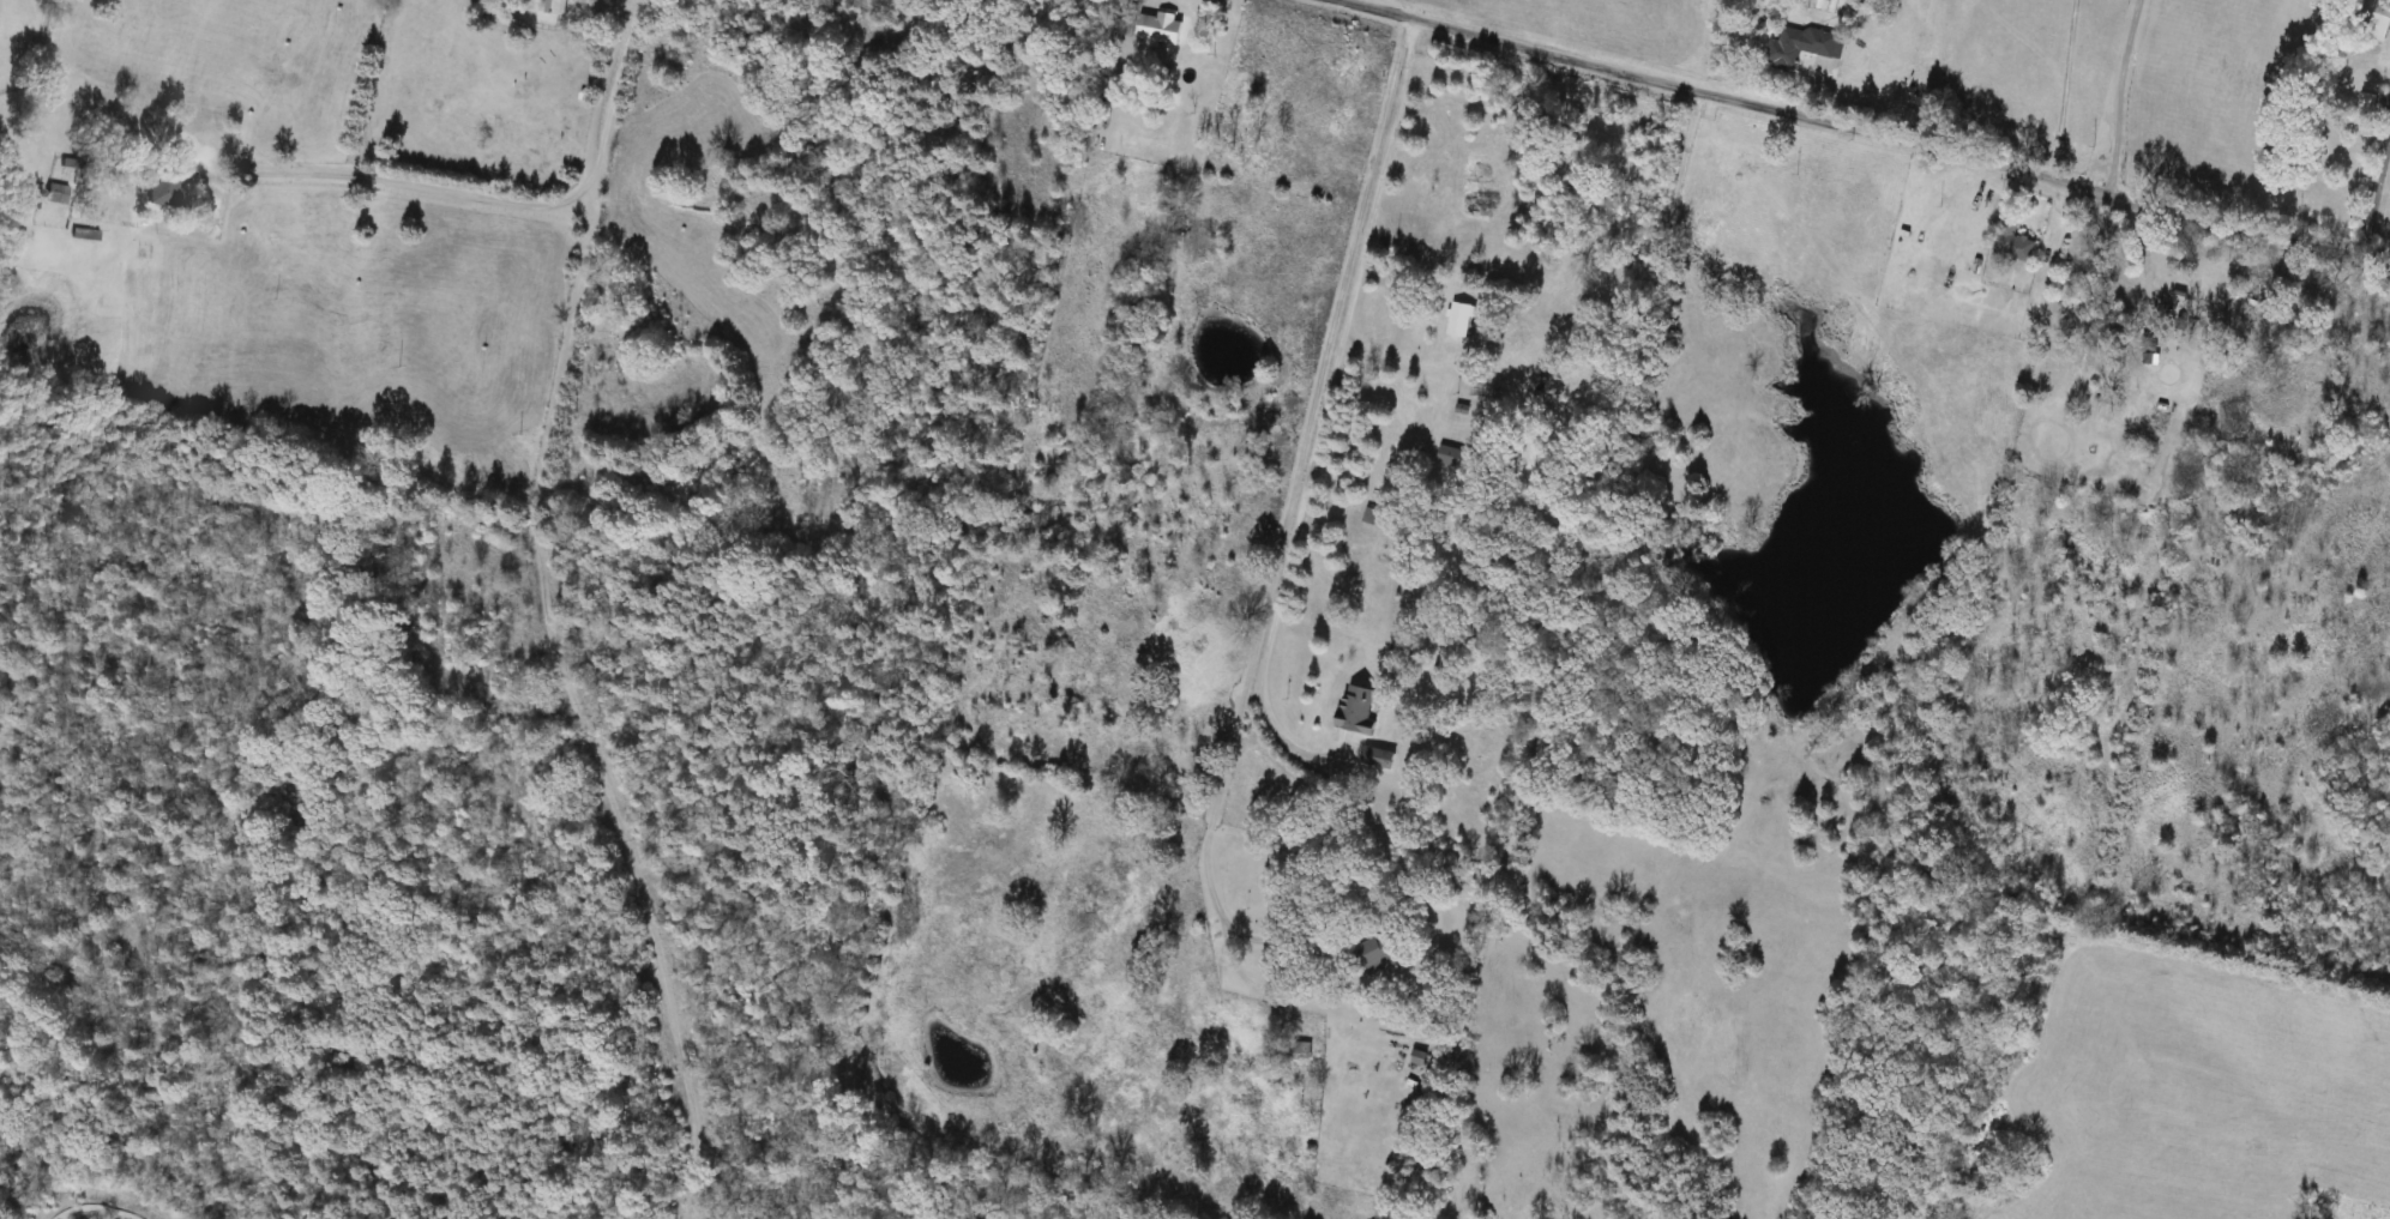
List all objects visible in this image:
building: (549, 6)
building: (2379, 20)
road: (920, 24)
building: (1160, 29)
road: (1052, 38)
building: (1799, 48)
road: (2067, 90)
road: (2121, 97)
road: (1877, 134)
building: (161, 188)
building: (55, 194)
road: (496, 194)
road: (1199, 194)
road: (2377, 205)
building: (2012, 243)
road: (2144, 259)
building: (1462, 320)
road: (1298, 457)
building: (1450, 457)
building: (1356, 710)
building: (1377, 759)
building: (1375, 957)
building: (1298, 1049)

